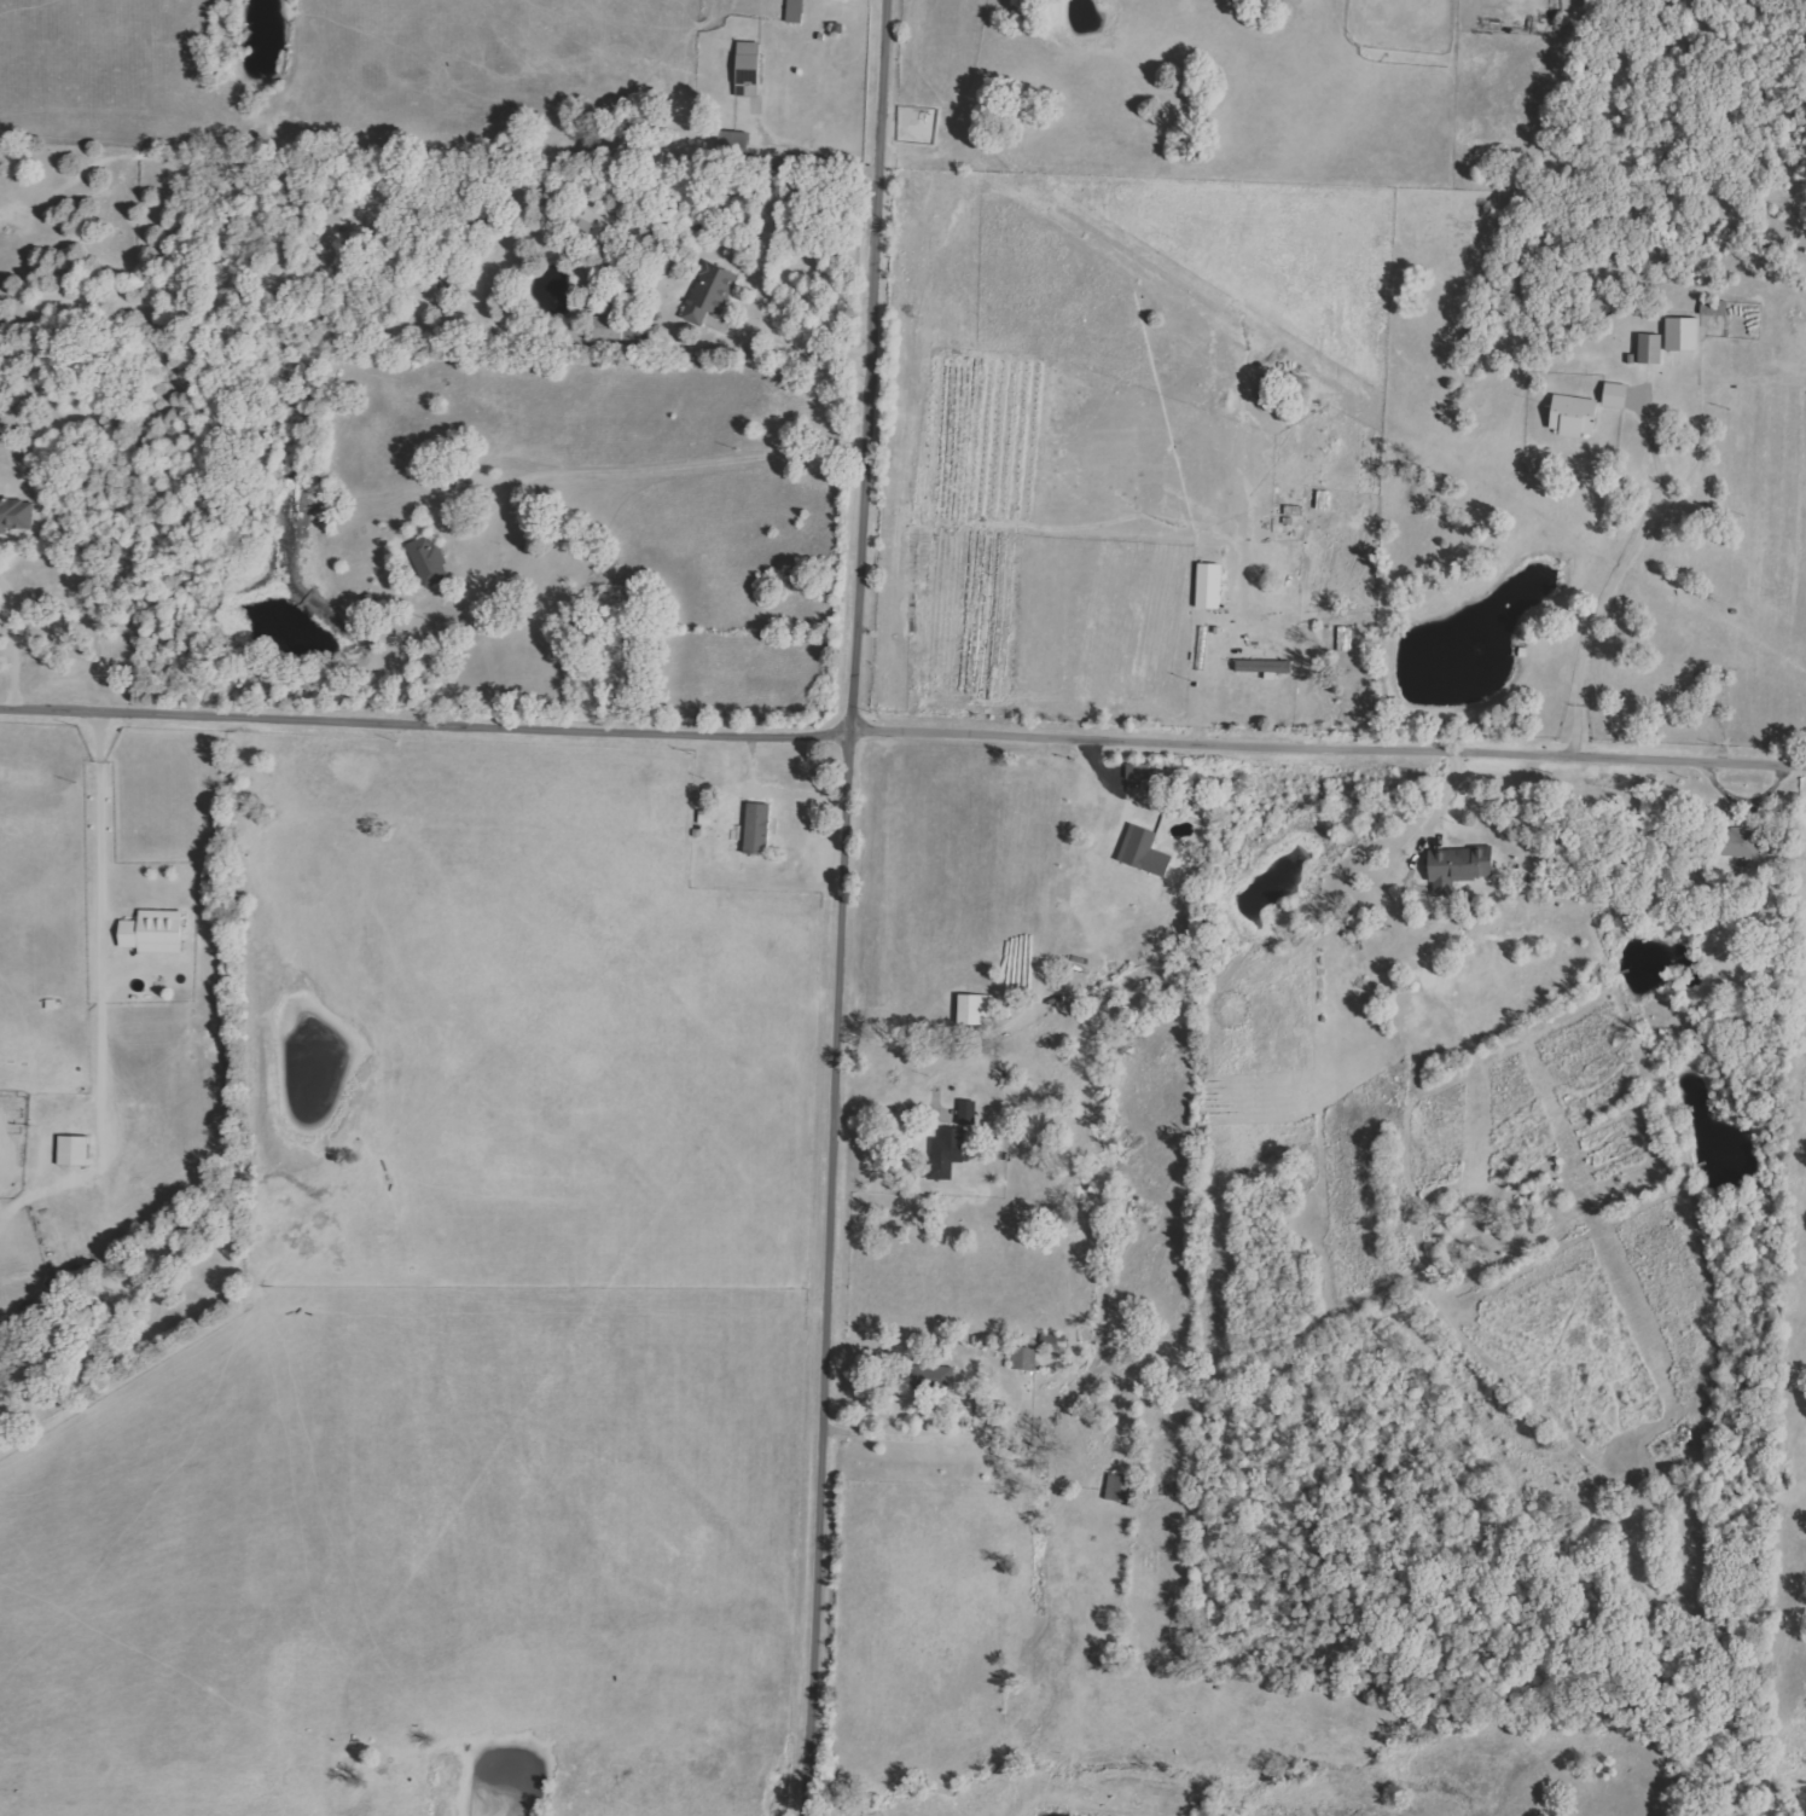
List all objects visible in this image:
building: (794, 11)
building: (747, 68)
building: (732, 144)
road: (803, 152)
building: (587, 221)
building: (709, 292)
building: (611, 327)
building: (1680, 332)
road: (790, 344)
building: (1649, 348)
building: (1614, 394)
building: (1573, 414)
road: (657, 469)
building: (14, 514)
building: (426, 559)
road: (1621, 585)
road: (14, 638)
building: (1262, 666)
road: (902, 731)
building: (1136, 771)
road: (777, 794)
road: (1435, 813)
building: (756, 828)
building: (1742, 841)
building: (1137, 846)
building: (1456, 868)
road: (101, 903)
road: (838, 907)
building: (152, 932)
building: (974, 1009)
building: (965, 1112)
road: (883, 1115)
building: (71, 1150)
building: (946, 1151)
building: (1051, 1341)
building: (929, 1380)
building: (989, 1408)
road: (876, 1434)
building: (1116, 1487)

